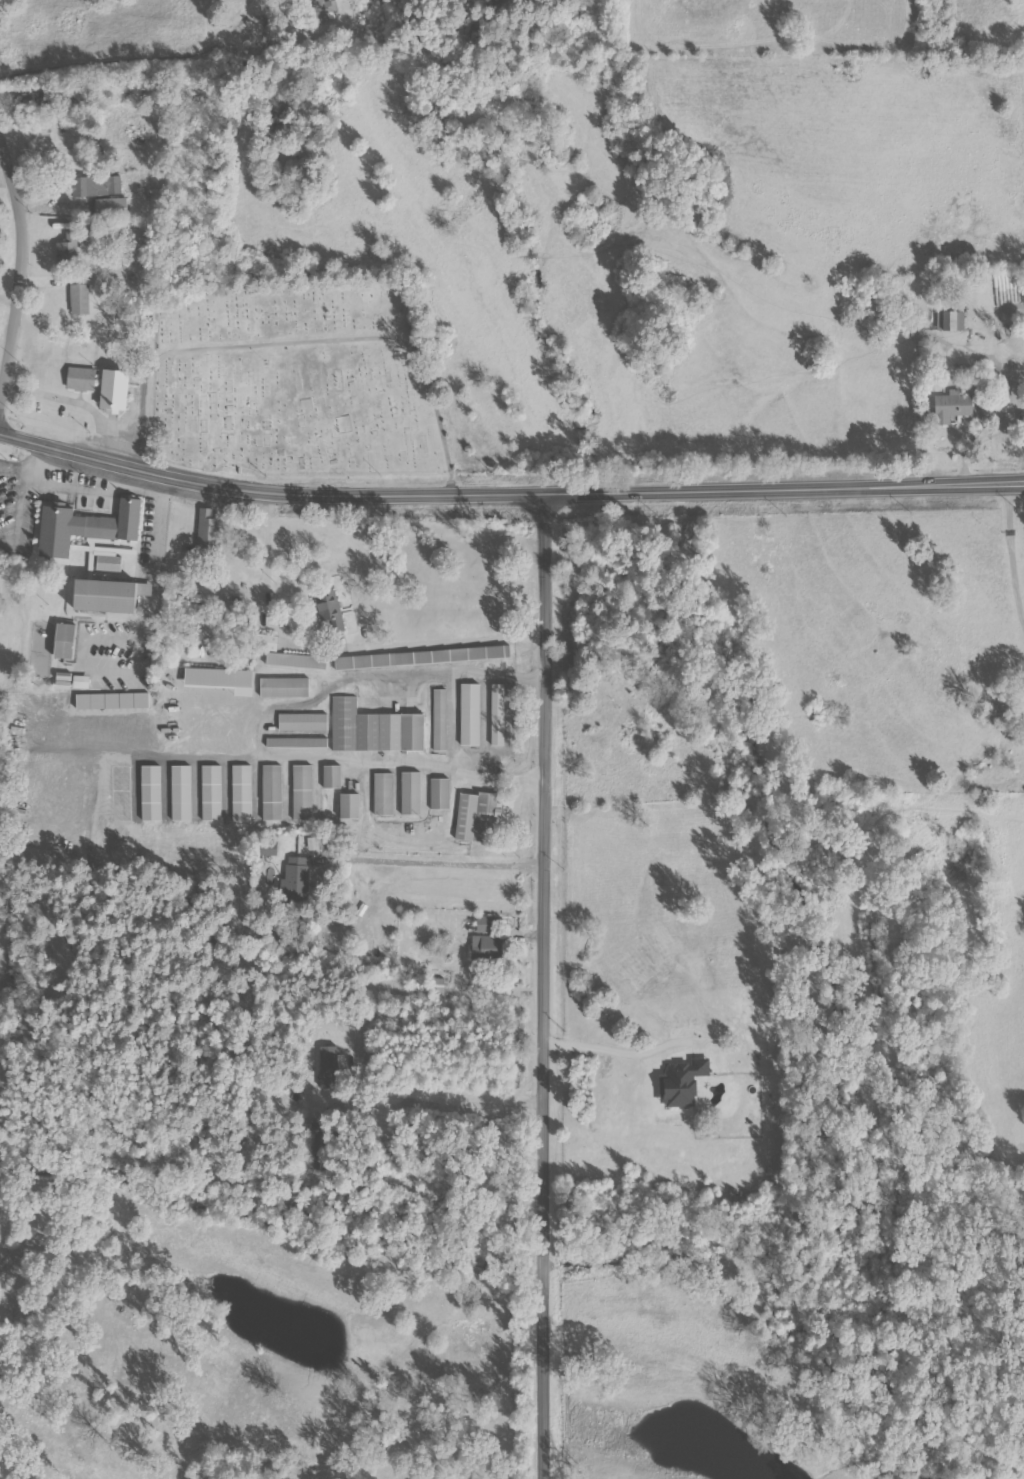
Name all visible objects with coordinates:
building: (322, 9)
building: (32, 98)
building: (96, 186)
building: (111, 206)
building: (69, 247)
road: (30, 270)
building: (79, 293)
building: (951, 320)
park: (303, 382)
building: (101, 386)
building: (951, 406)
road: (508, 492)
building: (84, 526)
building: (208, 531)
building: (108, 563)
building: (106, 594)
building: (330, 612)
building: (64, 641)
building: (266, 642)
building: (422, 657)
building: (297, 661)
building: (221, 679)
building: (63, 680)
building: (81, 681)
building: (285, 687)
building: (112, 700)
building: (469, 714)
building: (498, 714)
building: (439, 719)
building: (303, 722)
building: (374, 729)
building: (297, 742)
building: (302, 777)
building: (332, 777)
building: (151, 793)
building: (181, 793)
building: (212, 793)
building: (242, 793)
building: (272, 793)
building: (411, 793)
building: (439, 793)
building: (383, 794)
building: (302, 804)
building: (349, 806)
building: (475, 816)
building: (269, 848)
road: (456, 869)
building: (298, 878)
building: (483, 924)
building: (486, 947)
building: (439, 985)
road: (551, 985)
building: (681, 1082)

